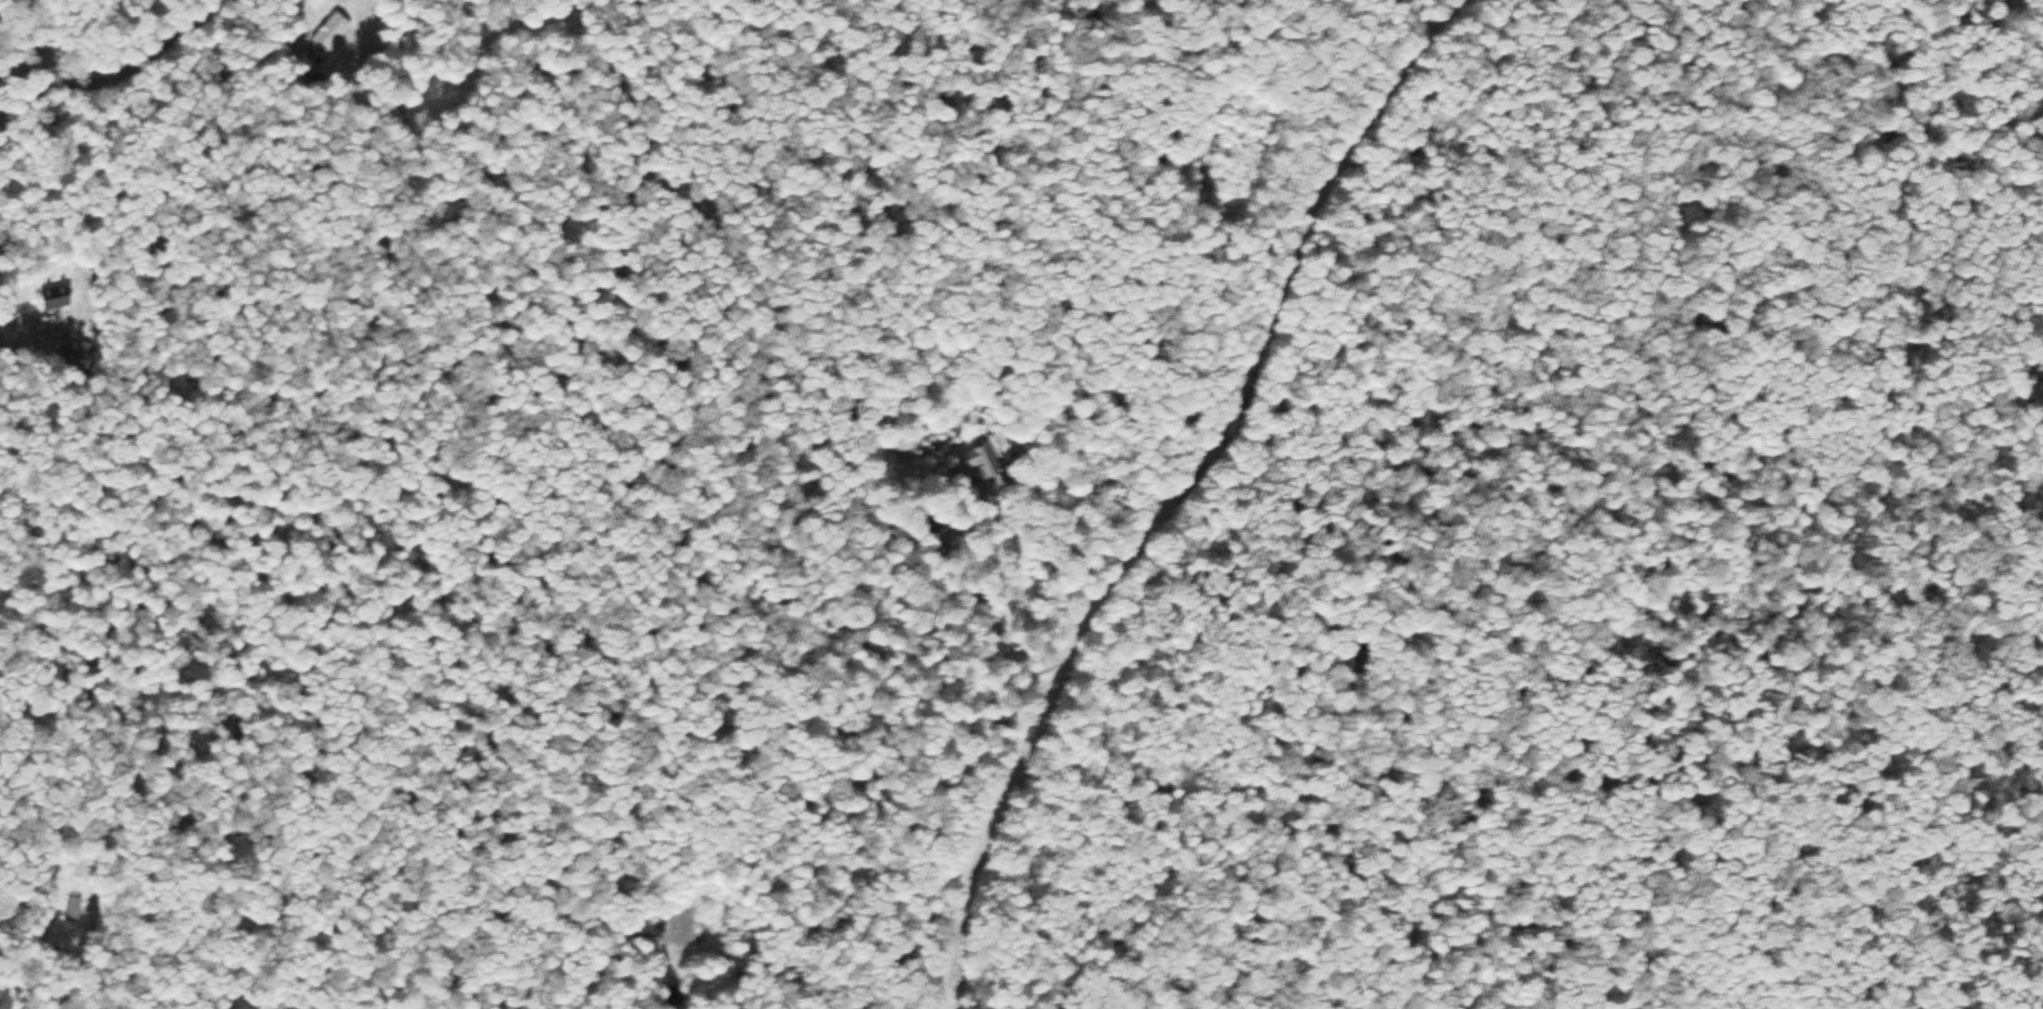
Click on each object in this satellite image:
building: (329, 32)
road: (34, 66)
building: (54, 297)
building: (73, 351)
building: (978, 460)
building: (932, 522)
building: (72, 908)

